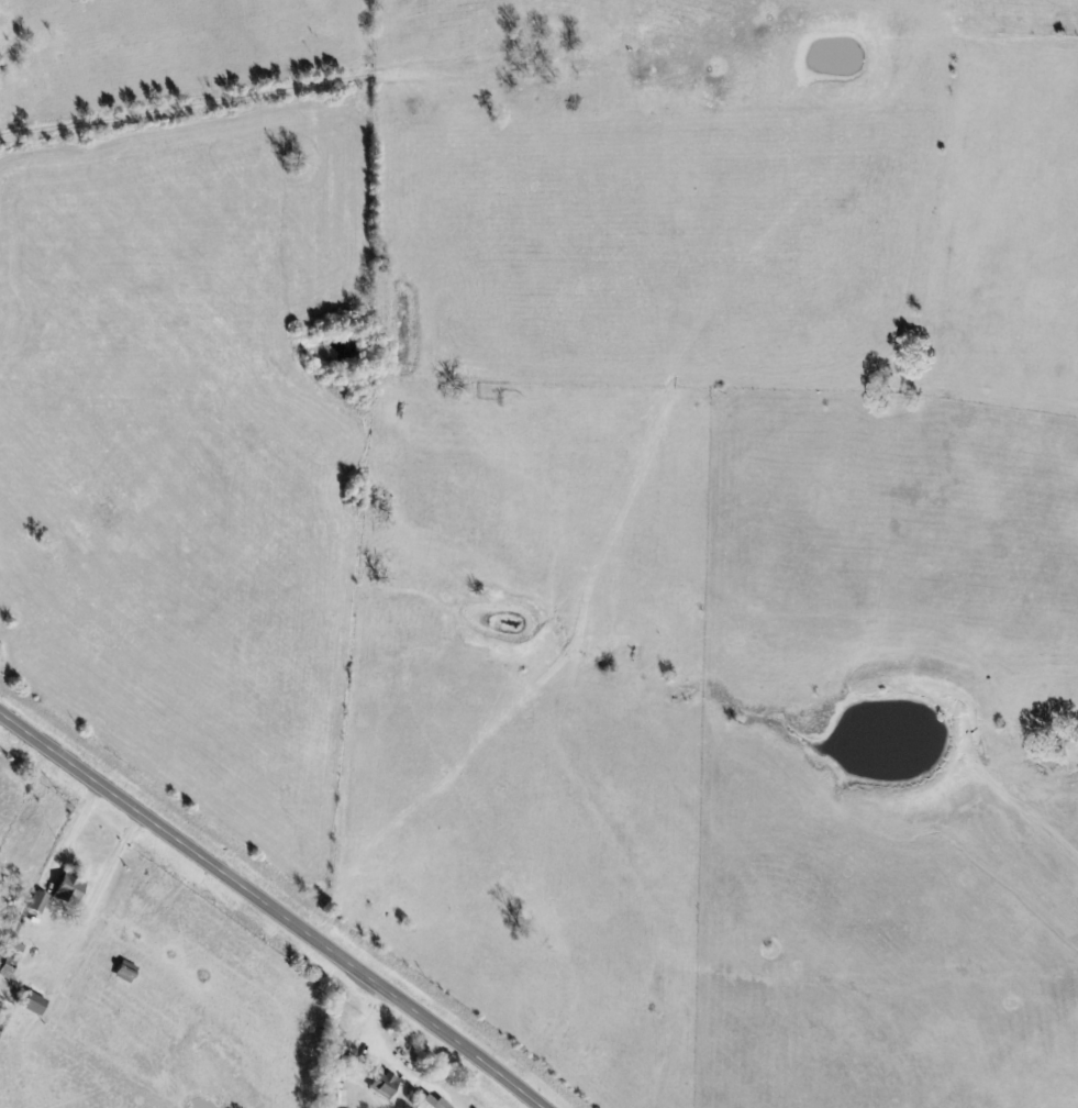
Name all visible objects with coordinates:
building: (70, 889)
building: (36, 902)
road: (273, 907)
road: (88, 911)
building: (5, 966)
building: (124, 972)
building: (32, 1004)
road: (375, 1015)
building: (337, 1061)
building: (382, 1084)

